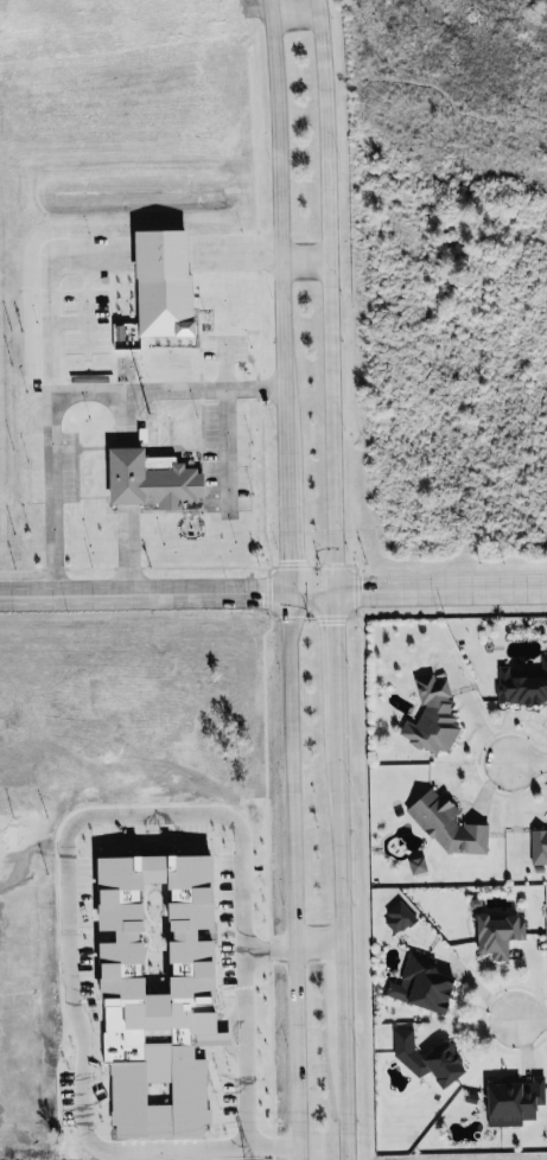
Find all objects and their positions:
road: (278, 243)
road: (235, 261)
building: (167, 281)
road: (331, 297)
road: (51, 300)
road: (63, 391)
road: (407, 416)
road: (229, 446)
road: (384, 453)
road: (403, 453)
road: (424, 454)
road: (384, 478)
road: (402, 478)
building: (154, 479)
road: (424, 479)
road: (432, 482)
road: (386, 502)
road: (405, 503)
road: (424, 503)
road: (379, 528)
road: (286, 542)
traffic signals: (335, 594)
road: (273, 597)
traffic signals: (288, 597)
road: (335, 645)
building: (522, 684)
building: (433, 716)
road: (526, 761)
building: (450, 826)
building: (539, 844)
building: (419, 865)
road: (293, 878)
building: (399, 918)
road: (339, 928)
building: (498, 933)
road: (318, 949)
building: (424, 983)
road: (75, 995)
road: (528, 1018)
building: (427, 1056)
building: (515, 1101)
road: (274, 1153)

